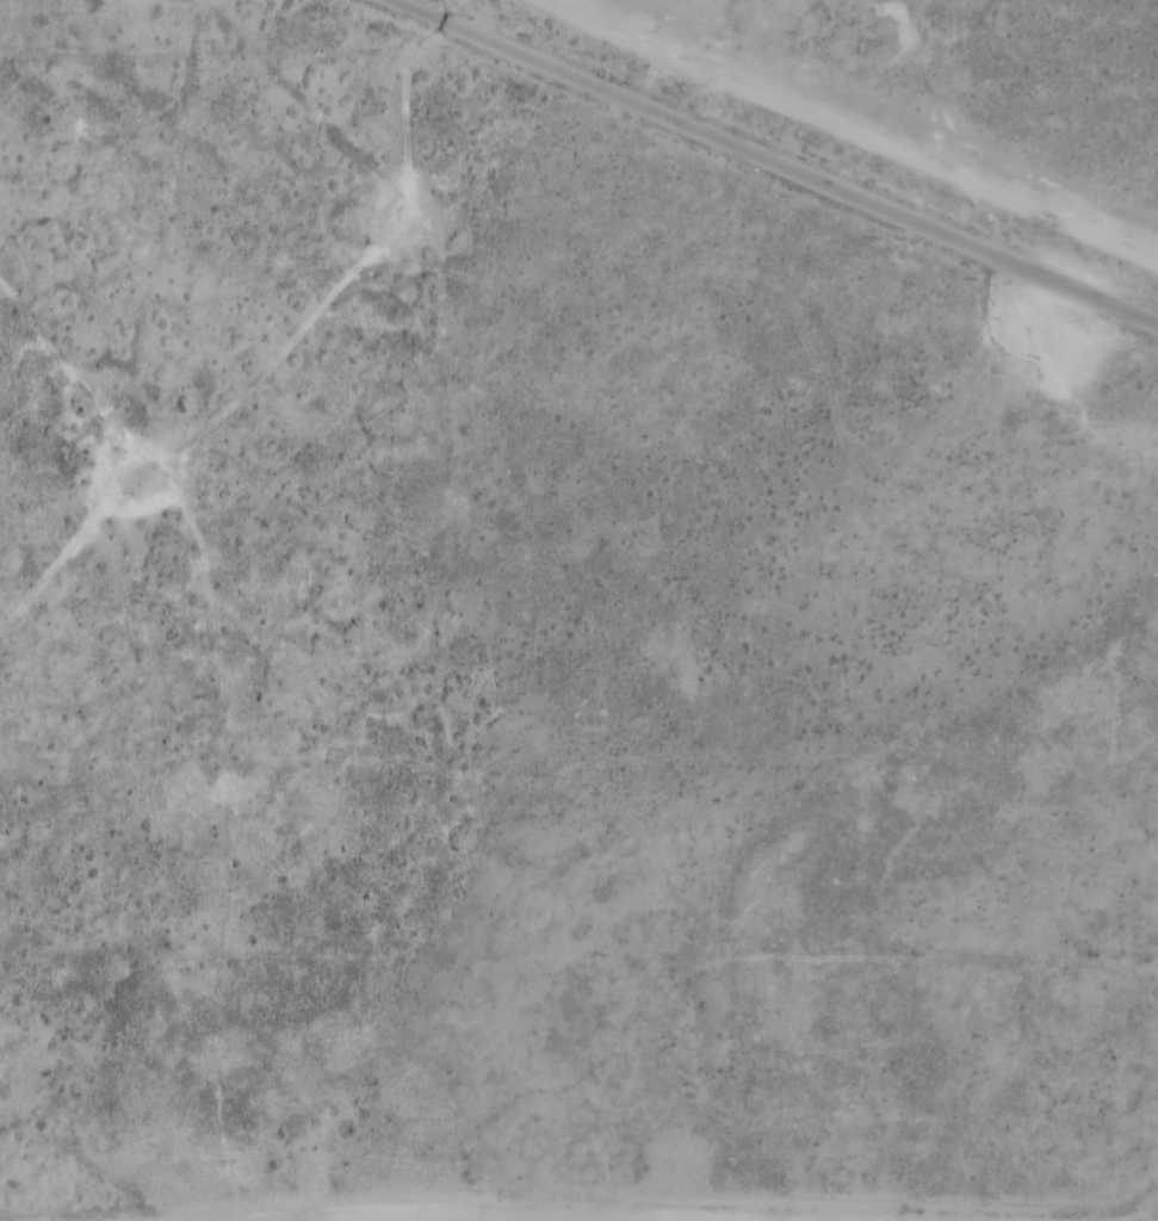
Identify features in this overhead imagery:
road: (774, 163)
road: (271, 327)
road: (62, 403)

